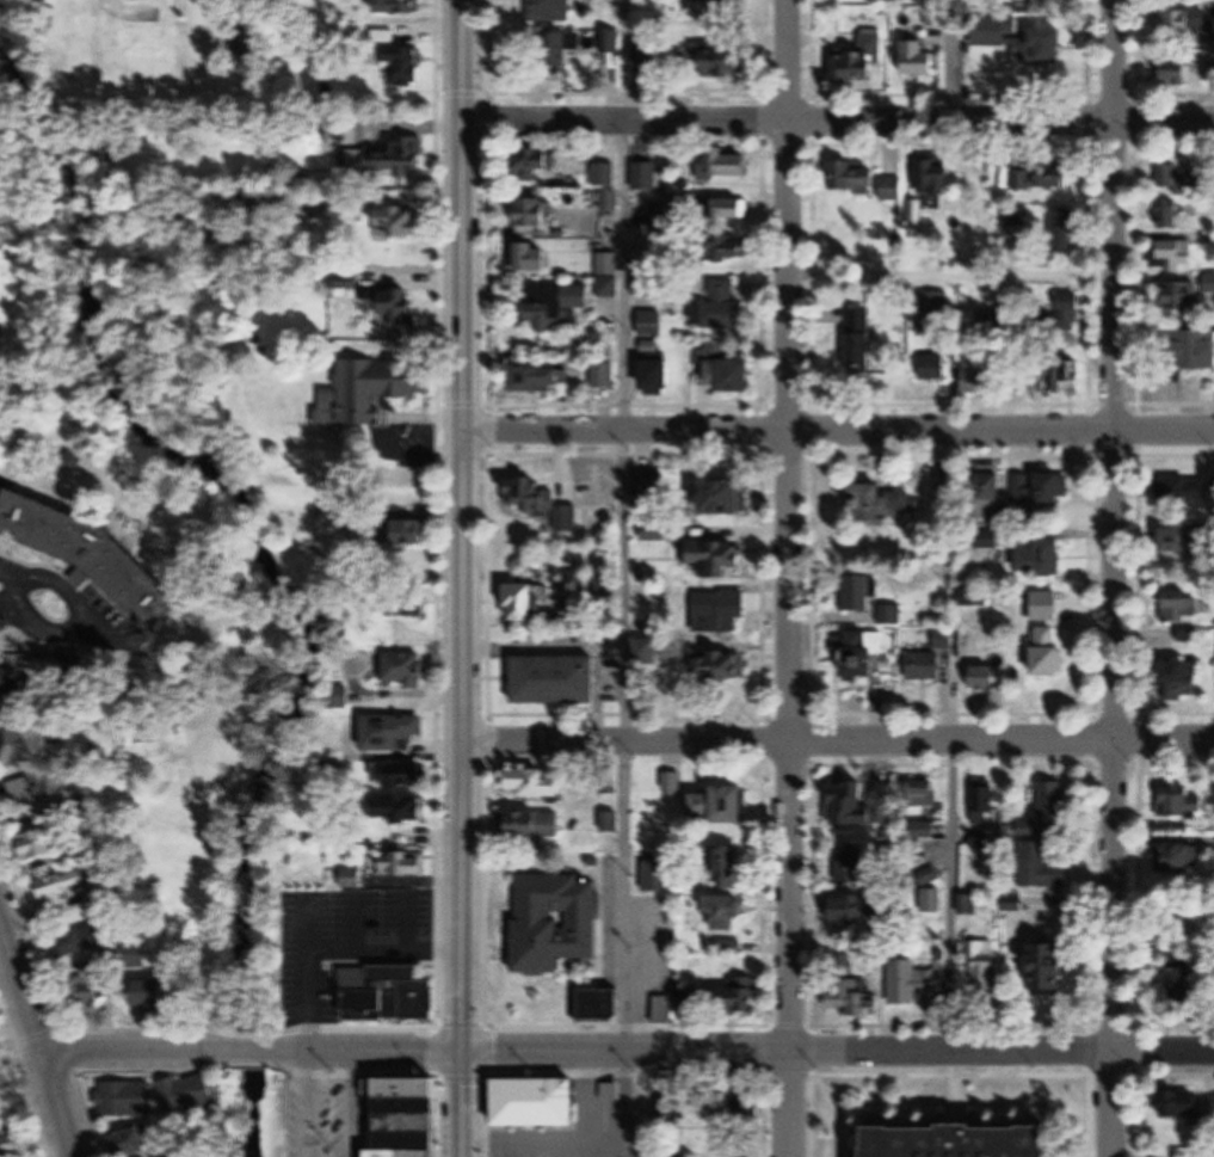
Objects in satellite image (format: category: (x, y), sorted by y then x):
building: (1050, 0)
building: (722, 1)
building: (550, 11)
building: (1185, 21)
building: (609, 41)
building: (1021, 41)
building: (561, 50)
building: (646, 53)
building: (726, 60)
building: (922, 60)
road: (949, 60)
building: (859, 63)
building: (405, 66)
building: (1212, 70)
building: (1181, 72)
road: (837, 119)
building: (384, 160)
building: (535, 166)
building: (725, 167)
building: (604, 176)
building: (855, 178)
building: (1042, 178)
building: (648, 179)
building: (1179, 179)
building: (936, 184)
building: (610, 202)
building: (728, 210)
building: (538, 215)
building: (1169, 215)
building: (660, 216)
building: (399, 223)
building: (1064, 229)
building: (723, 250)
building: (1171, 252)
building: (536, 258)
building: (609, 276)
road: (954, 278)
building: (1178, 296)
building: (722, 306)
building: (398, 307)
building: (554, 307)
building: (1070, 313)
building: (649, 325)
building: (859, 340)
building: (1189, 351)
building: (931, 365)
road: (624, 370)
building: (727, 371)
building: (974, 375)
building: (604, 376)
building: (1068, 377)
building: (658, 379)
building: (541, 381)
building: (371, 390)
road: (839, 432)
building: (419, 480)
building: (1183, 491)
building: (1054, 492)
building: (1023, 494)
building: (992, 496)
building: (723, 498)
building: (883, 501)
building: (543, 504)
building: (414, 533)
building: (1189, 540)
building: (719, 556)
building: (94, 558)
building: (1042, 559)
road: (2, 573)
road: (463, 578)
road: (791, 578)
road: (1119, 578)
building: (862, 595)
building: (972, 597)
road: (7, 598)
building: (528, 604)
building: (406, 605)
building: (1179, 608)
parking lot: (58, 613)
building: (717, 614)
building: (891, 616)
road: (80, 623)
road: (92, 630)
building: (944, 640)
building: (1052, 654)
building: (648, 659)
building: (864, 660)
building: (925, 666)
building: (721, 667)
building: (403, 671)
building: (984, 678)
building: (12, 679)
building: (557, 681)
building: (1181, 682)
building: (350, 693)
building: (392, 733)
road: (837, 740)
building: (25, 745)
building: (399, 775)
building: (532, 784)
building: (922, 794)
building: (33, 799)
building: (1052, 802)
building: (1181, 802)
building: (725, 806)
building: (856, 806)
building: (982, 806)
building: (399, 807)
building: (536, 827)
building: (41, 845)
building: (980, 845)
building: (1182, 861)
building: (403, 866)
building: (852, 867)
building: (1041, 867)
building: (728, 868)
building: (930, 876)
building: (654, 878)
building: (353, 880)
building: (58, 884)
building: (103, 888)
road: (617, 897)
road: (951, 897)
building: (931, 901)
building: (1015, 904)
building: (855, 910)
building: (729, 912)
road: (407, 921)
road: (353, 922)
building: (555, 923)
building: (81, 942)
road: (384, 949)
building: (731, 949)
building: (134, 956)
building: (1056, 971)
road: (307, 972)
building: (985, 972)
building: (914, 979)
building: (1181, 985)
building: (90, 992)
building: (387, 995)
building: (740, 996)
building: (149, 997)
building: (852, 999)
building: (685, 1001)
building: (604, 1007)
building: (664, 1010)
road: (37, 1038)
road: (131, 1052)
road: (246, 1052)
road: (365, 1052)
road: (837, 1052)
street lamp: (11, 1057)
road: (23, 1082)
building: (189, 1095)
building: (125, 1101)
building: (540, 1103)
road: (353, 1104)
road: (628, 1104)
building: (1179, 1108)
building: (414, 1119)
building: (8, 1134)
building: (973, 1143)
building: (134, 1144)

